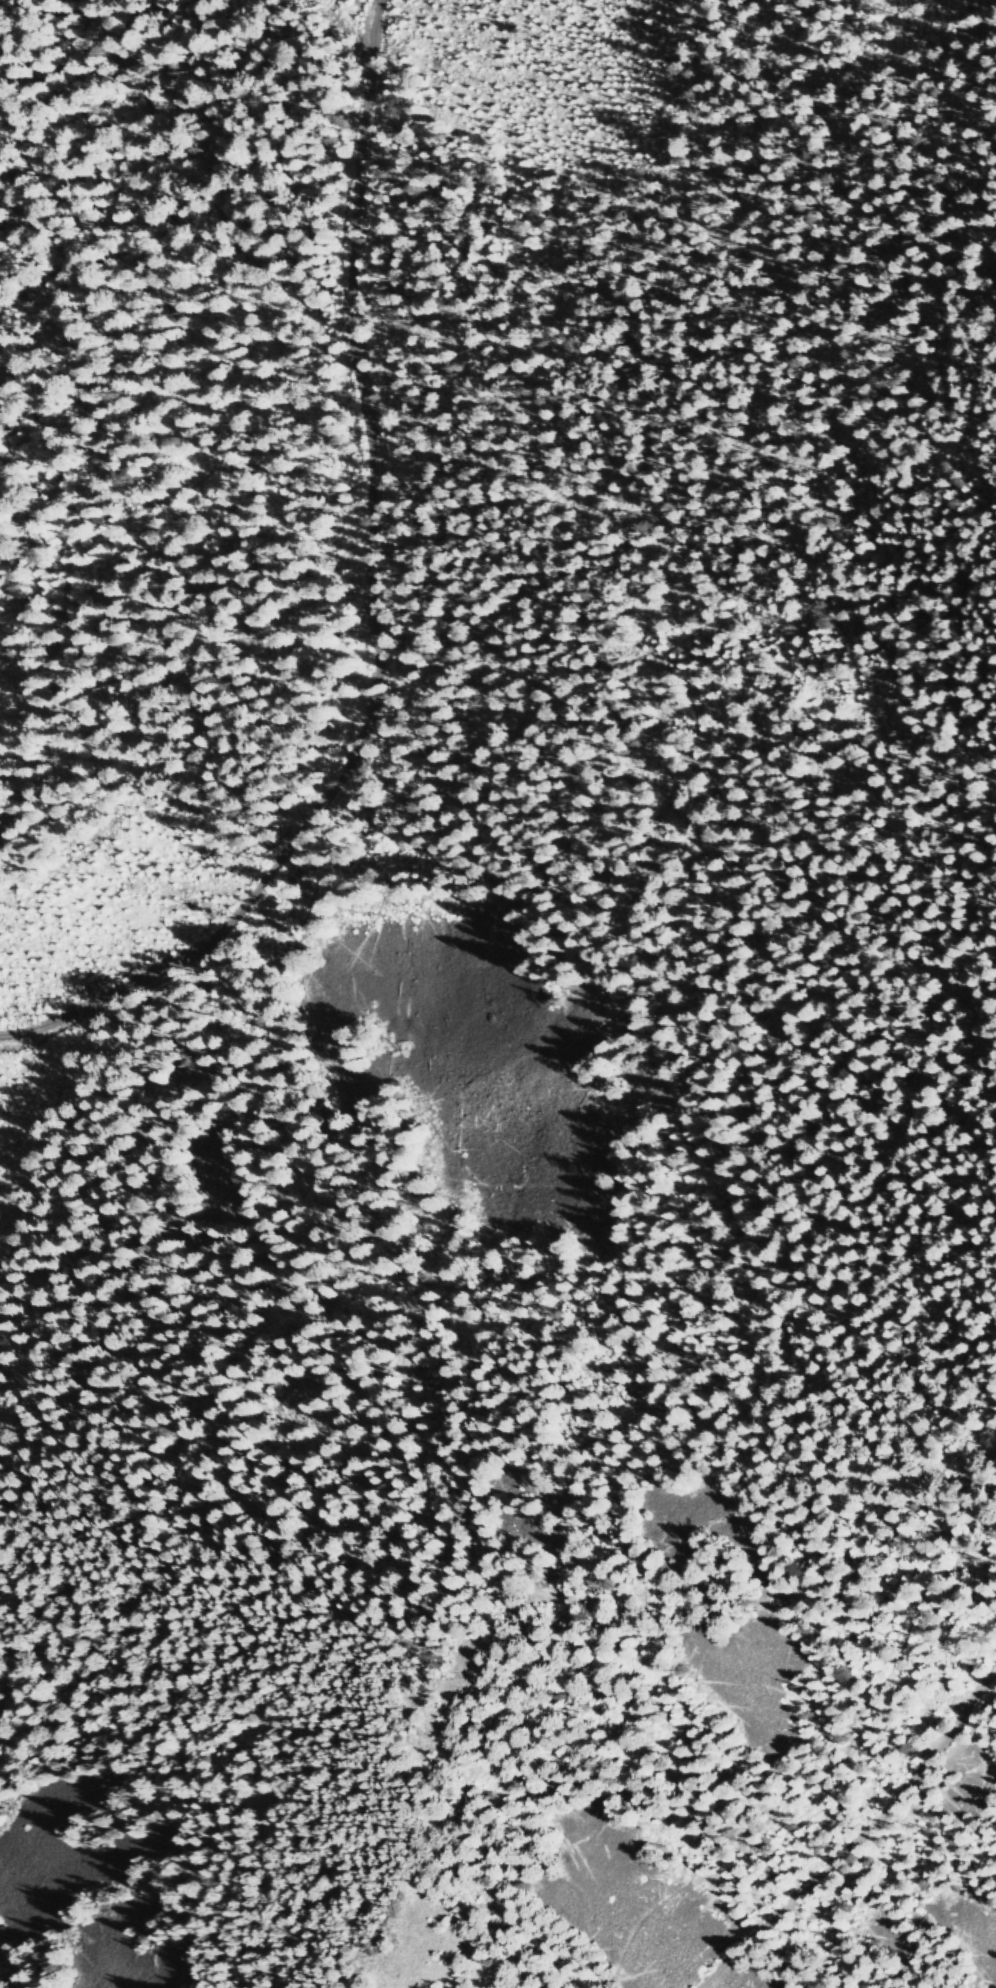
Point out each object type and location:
road: (375, 608)
road: (803, 1756)
road: (854, 1842)
road: (11, 1960)

